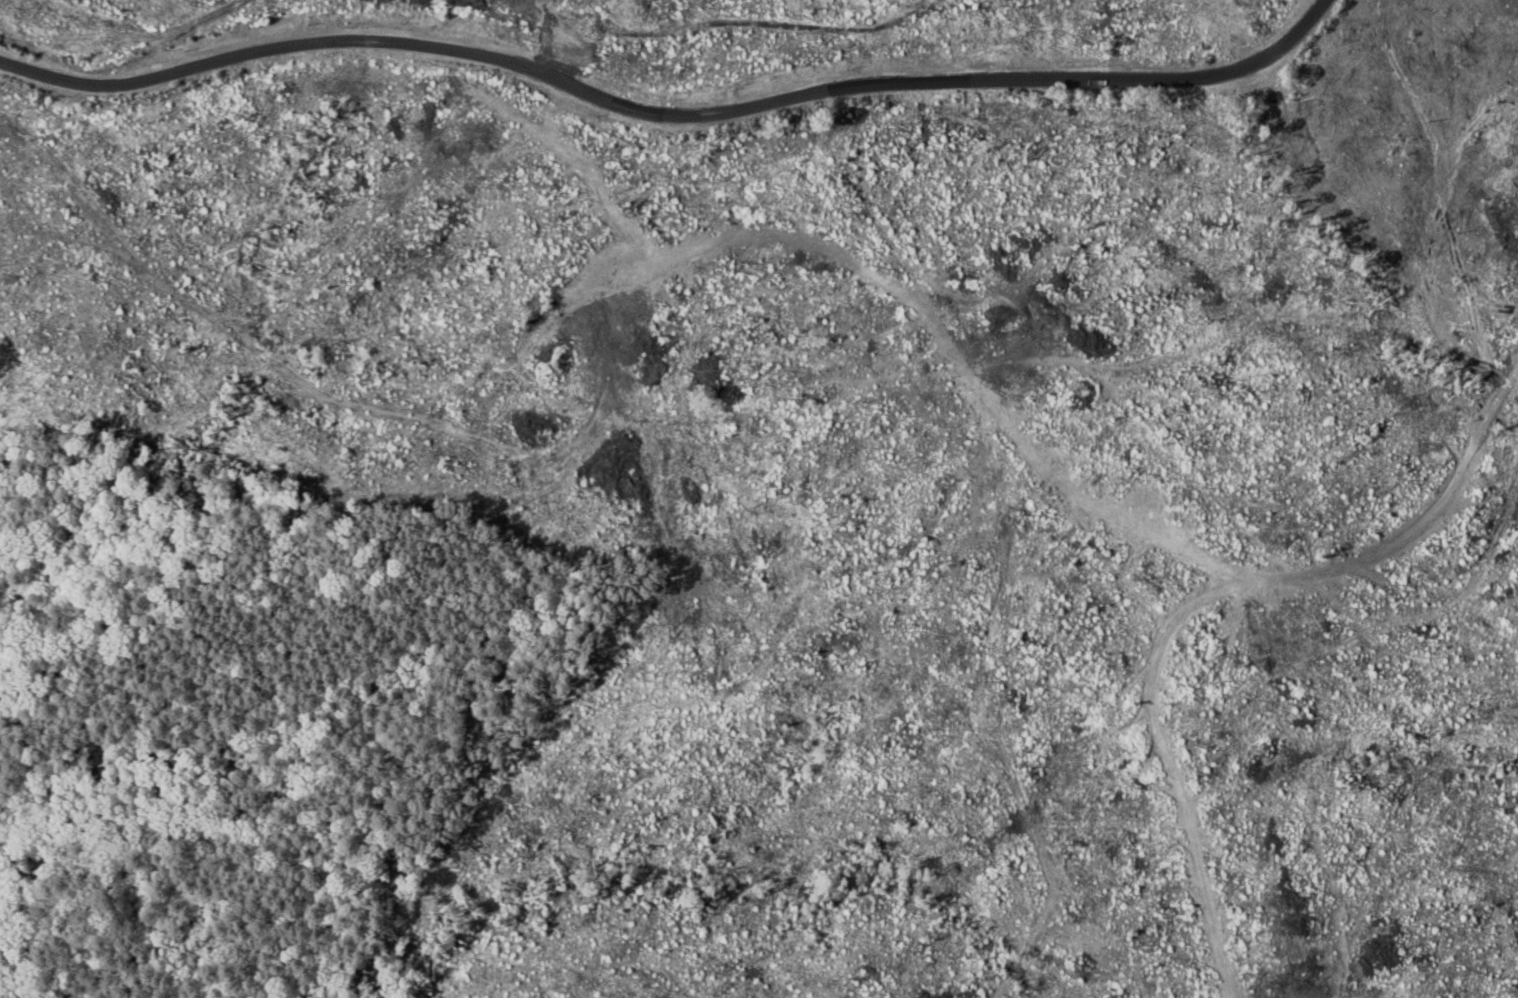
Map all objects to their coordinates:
road: (670, 112)

